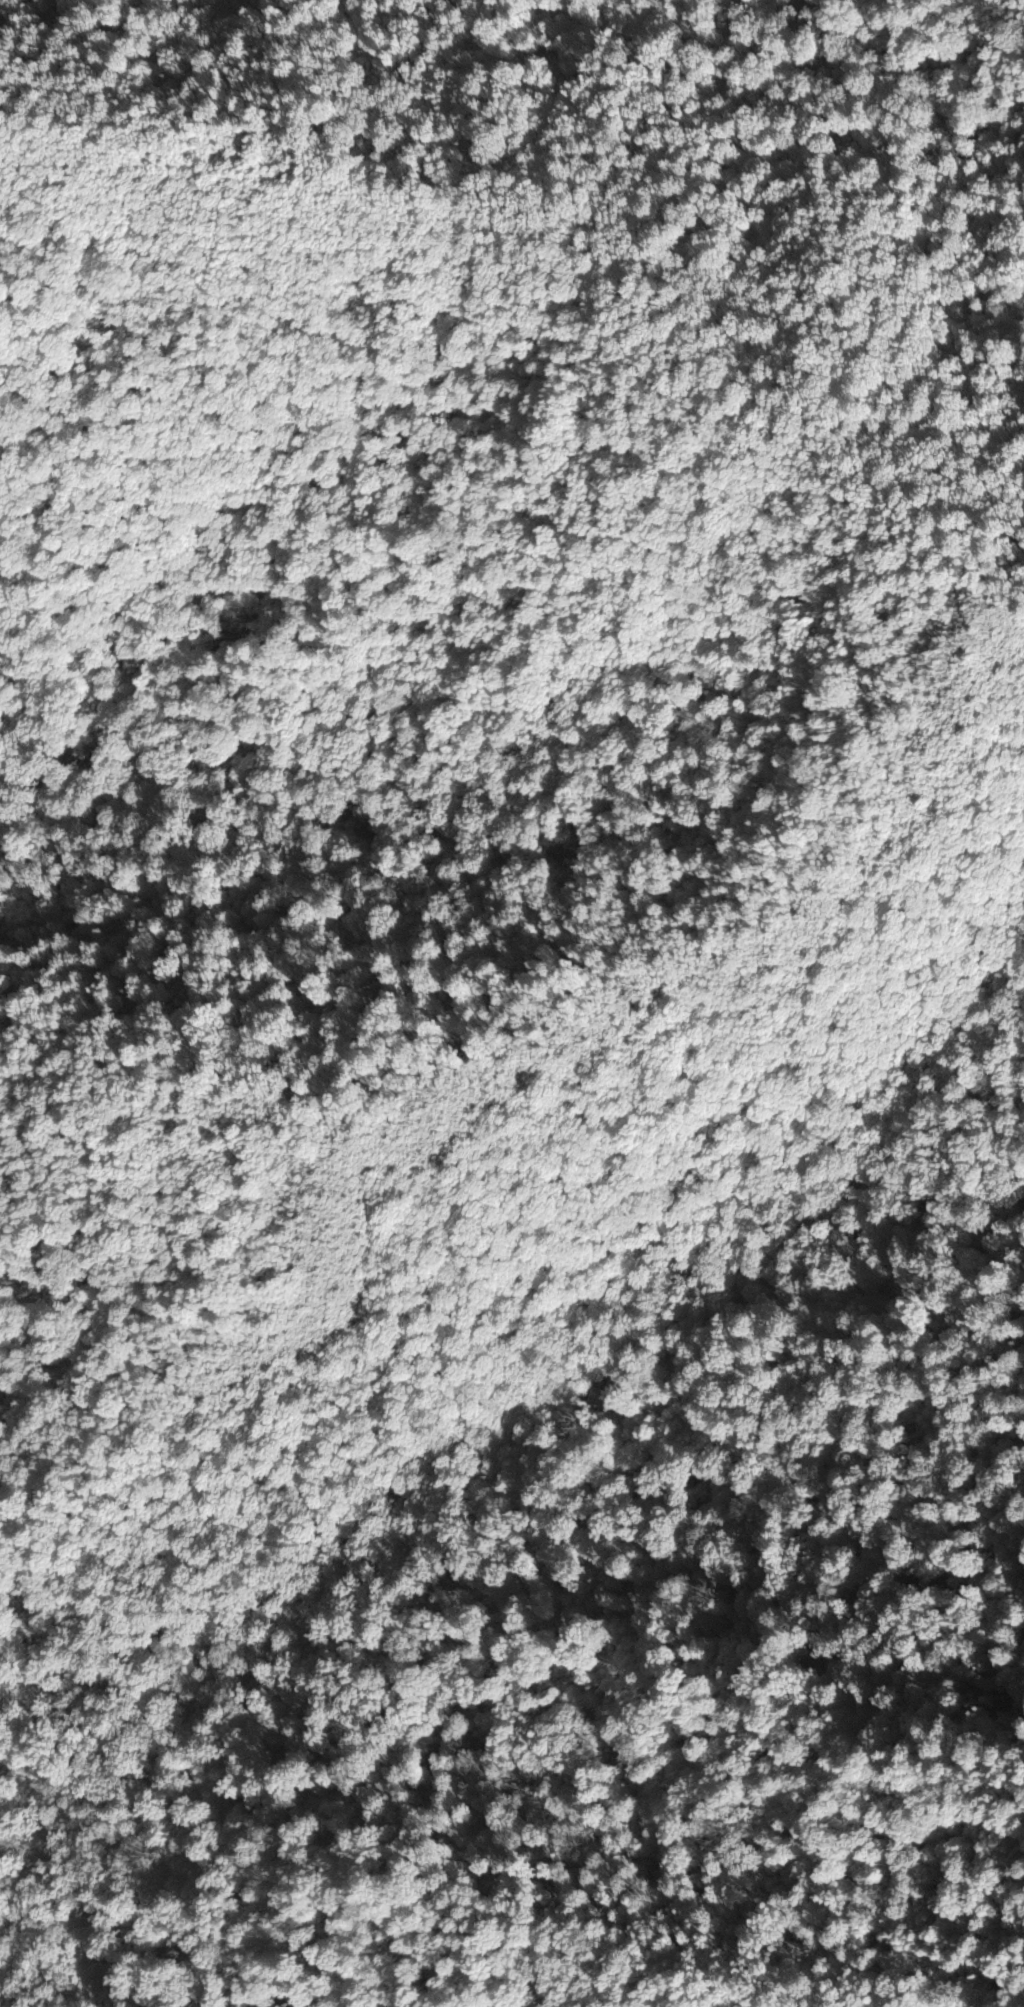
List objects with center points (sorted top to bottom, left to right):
road: (67, 1943)

